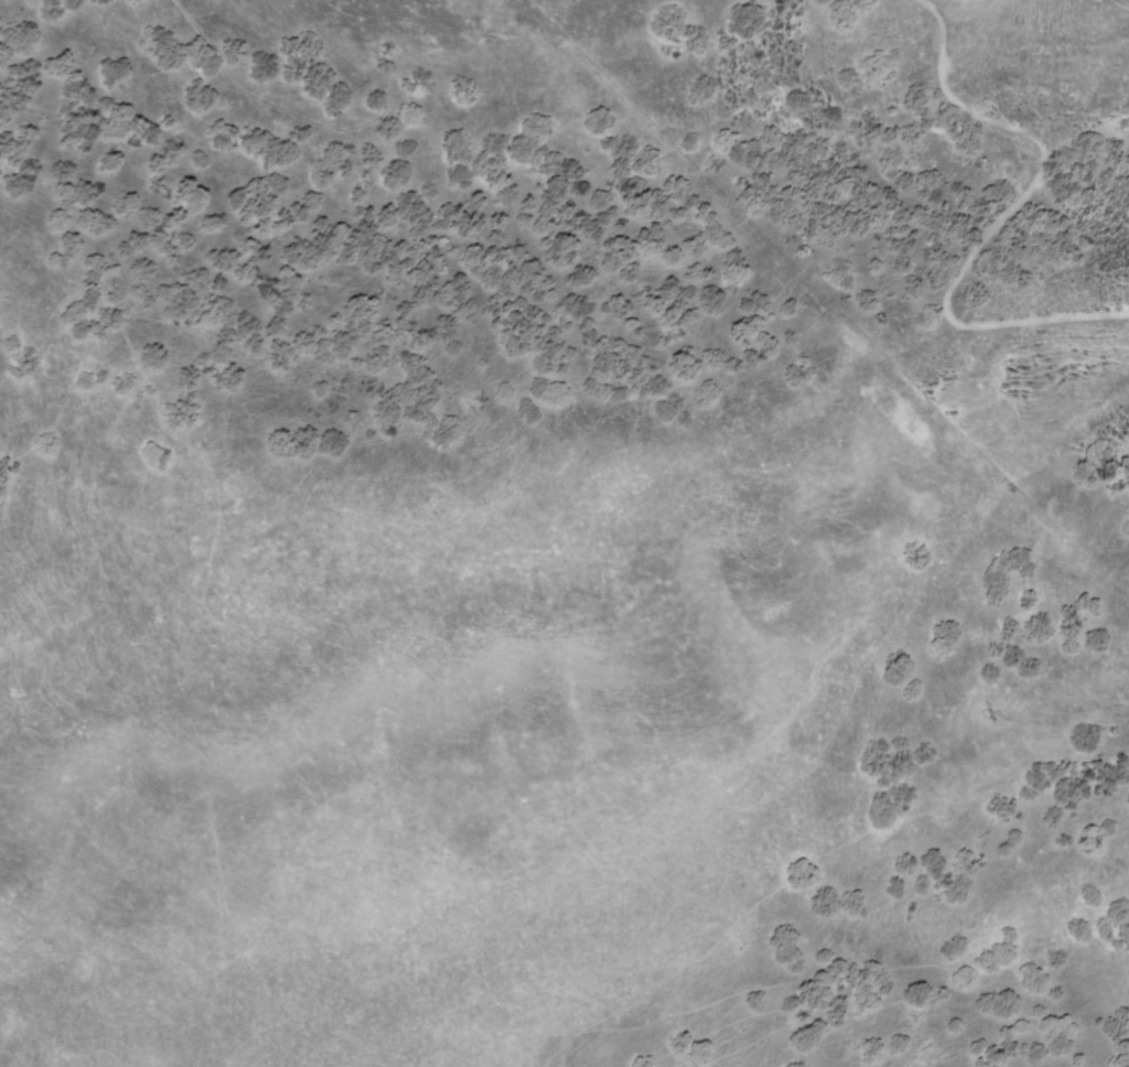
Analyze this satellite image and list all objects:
road: (998, 220)

